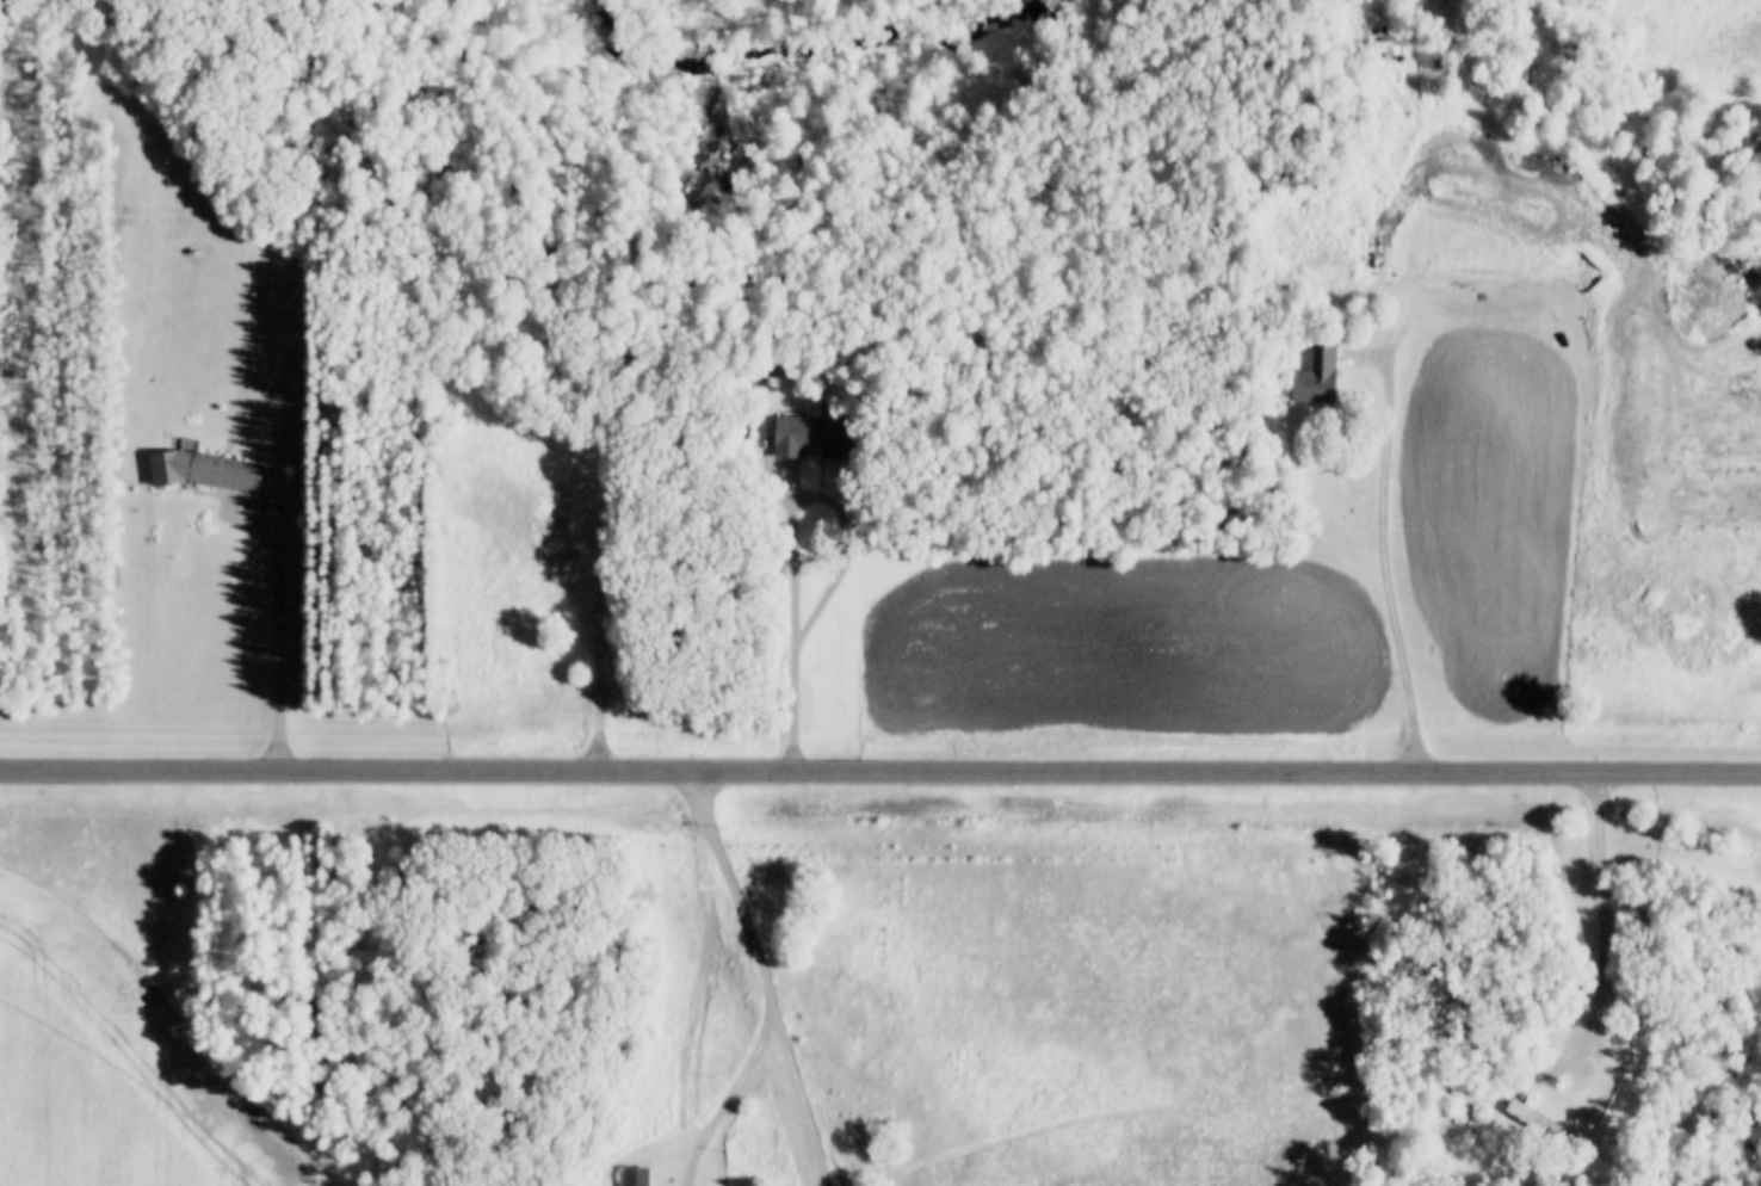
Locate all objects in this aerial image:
building: (1279, 187)
building: (1317, 377)
building: (809, 437)
building: (209, 471)
road: (1380, 484)
road: (846, 554)
road: (593, 638)
road: (277, 644)
road: (880, 768)
road: (698, 833)
road: (1601, 939)
road: (694, 1040)
road: (766, 1042)
building: (1538, 1120)
building: (635, 1176)

